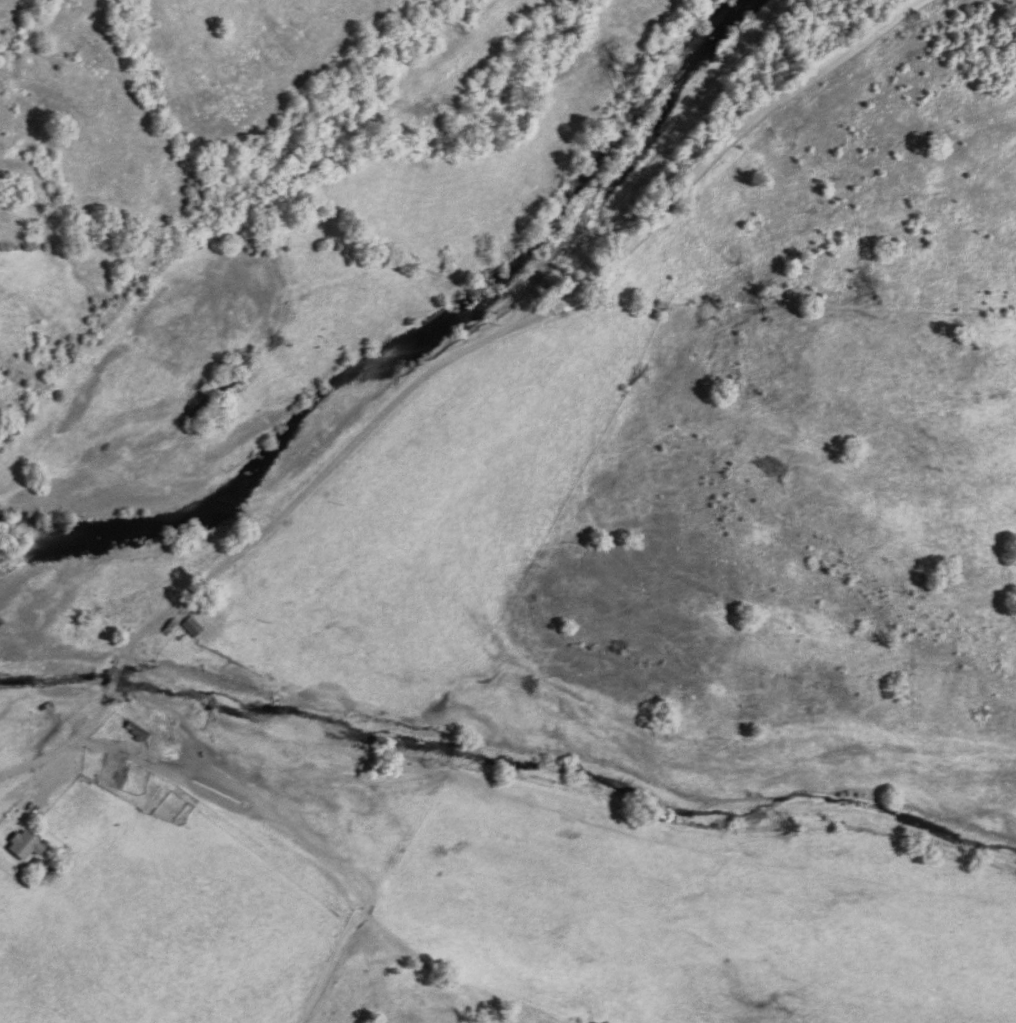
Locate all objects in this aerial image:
road: (454, 380)
building: (193, 626)
building: (116, 771)
building: (26, 845)

